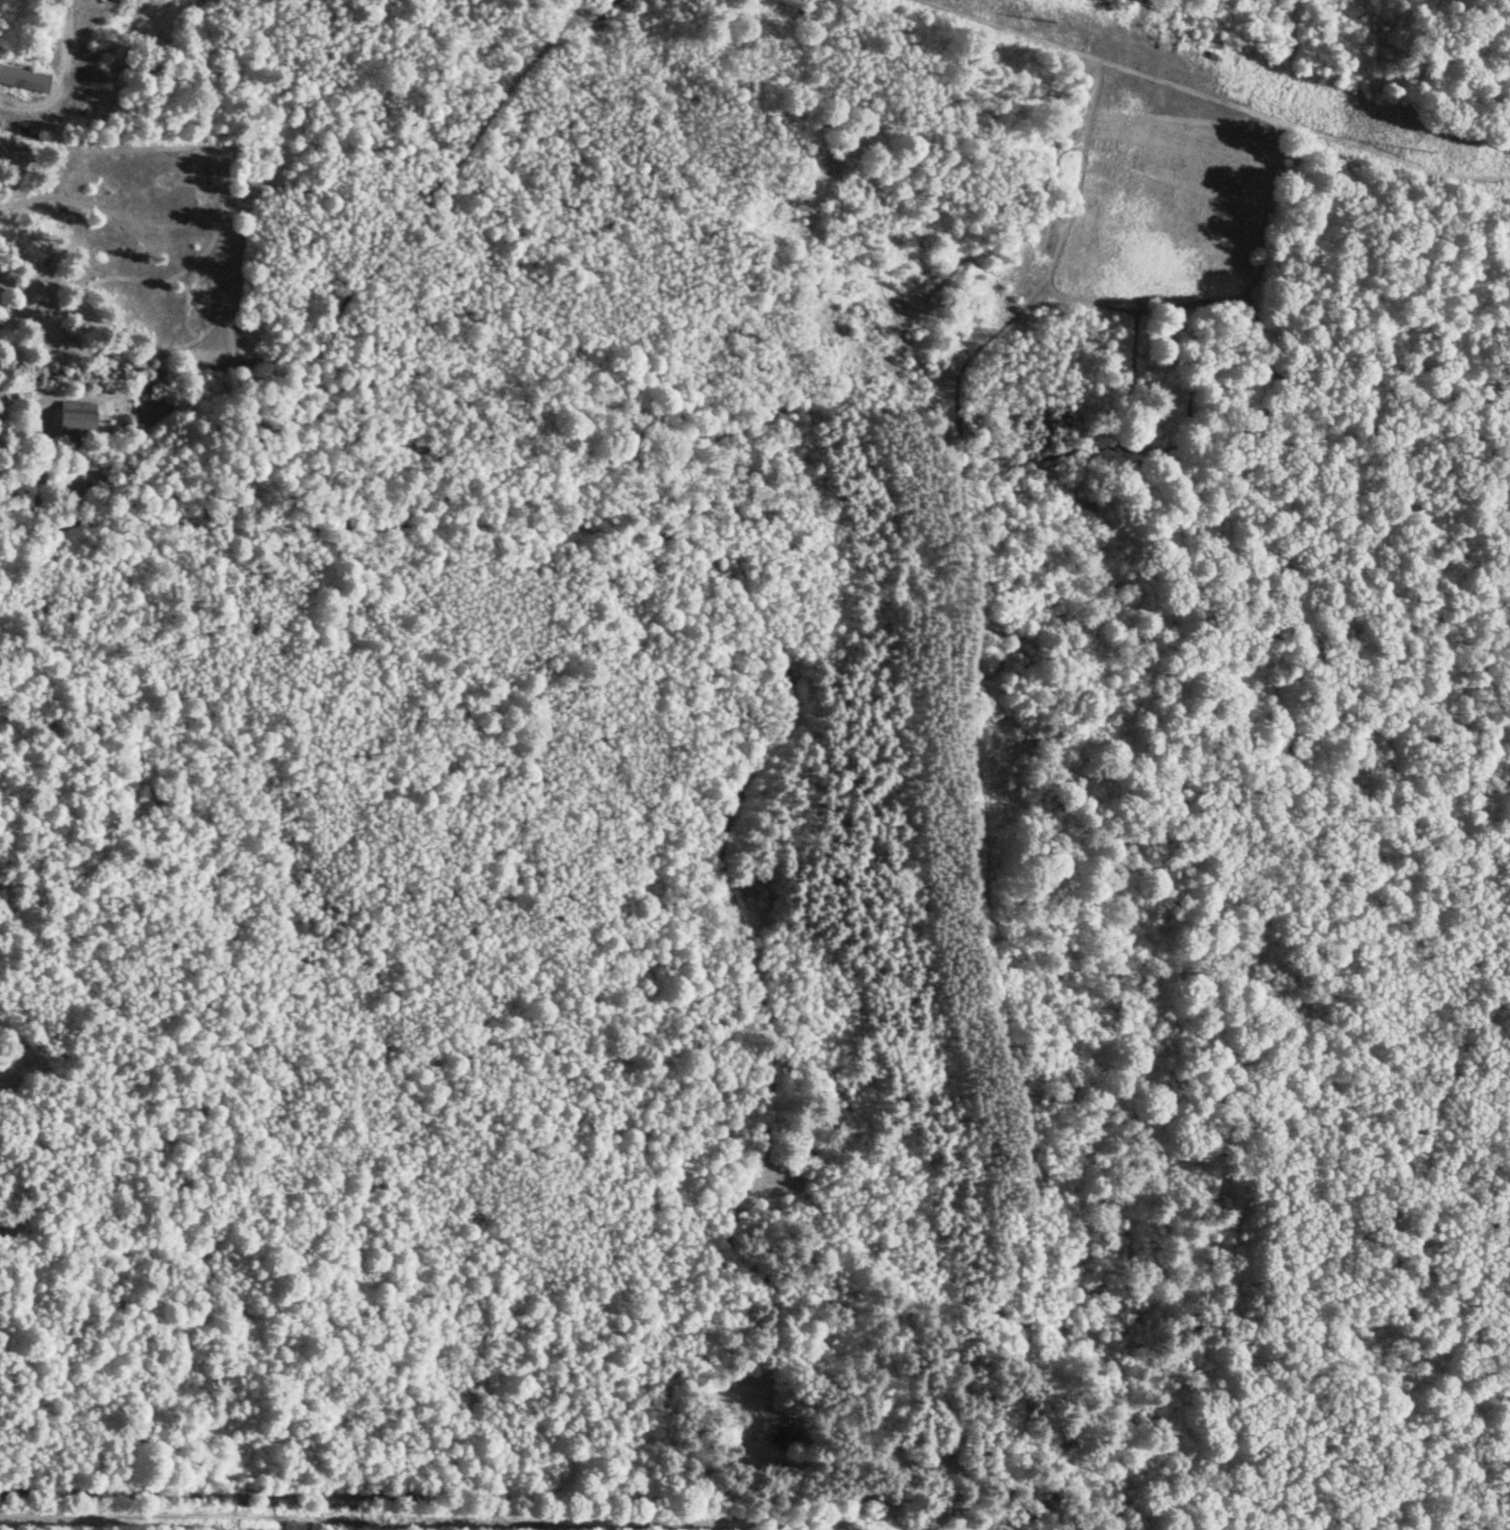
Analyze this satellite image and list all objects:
building: (24, 79)
road: (67, 81)
road: (1207, 107)
road: (391, 250)
road: (69, 396)
building: (75, 418)
road: (748, 612)
road: (382, 1352)
building: (782, 1433)
road: (353, 1523)

